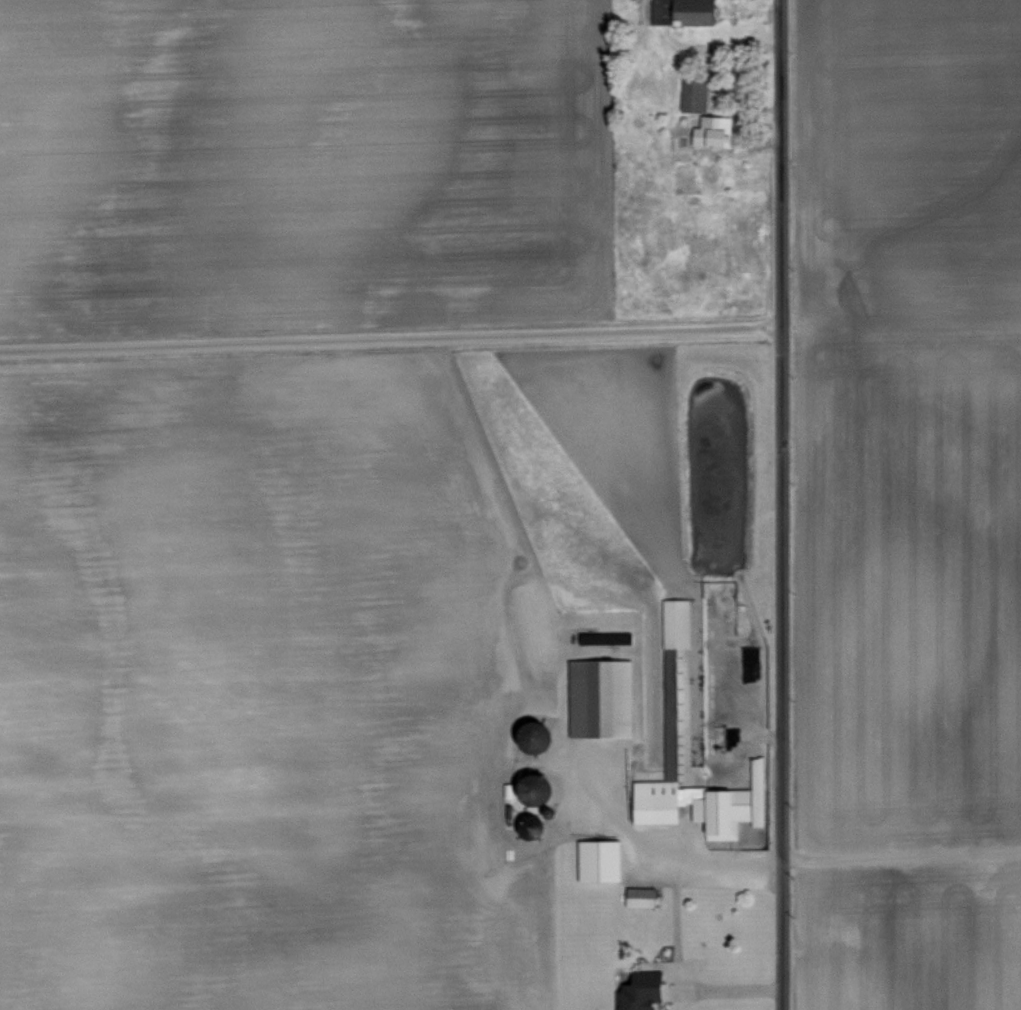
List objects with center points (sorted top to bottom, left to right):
building: (684, 13)
building: (696, 93)
road: (387, 338)
road: (778, 504)
building: (678, 676)
building: (604, 697)
road: (899, 849)
building: (642, 896)
road: (674, 922)
building: (640, 994)
road: (677, 997)

